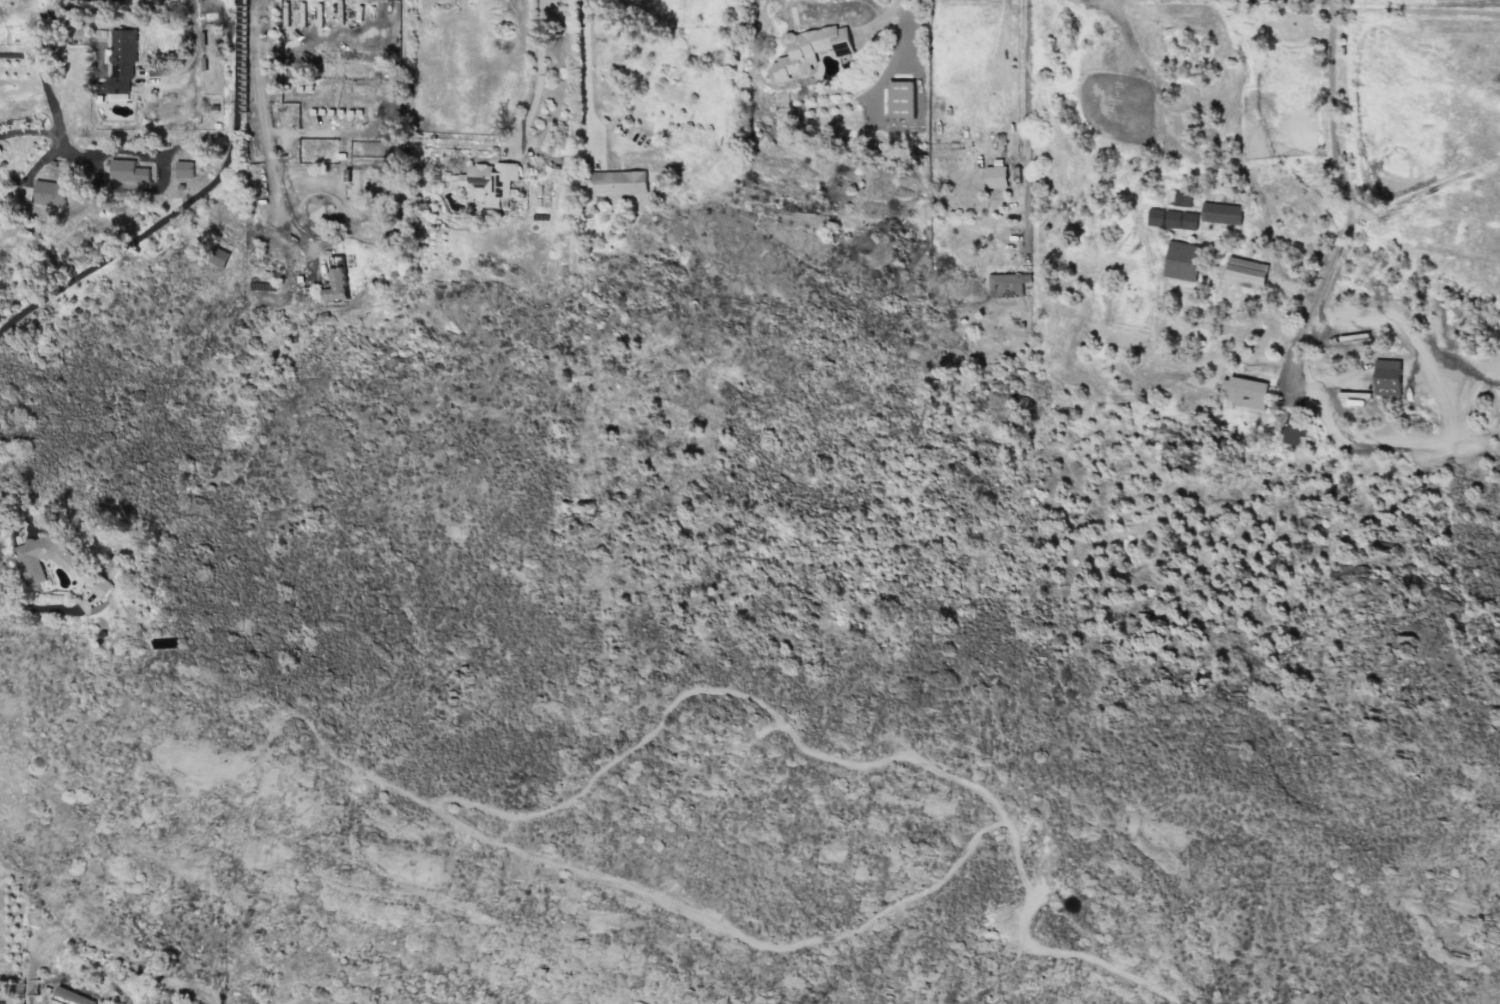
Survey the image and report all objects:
road: (879, 21)
road: (1002, 31)
road: (190, 46)
building: (808, 49)
building: (121, 59)
road: (233, 67)
road: (536, 69)
road: (586, 69)
road: (1025, 87)
building: (900, 99)
road: (262, 115)
building: (184, 168)
building: (127, 170)
building: (995, 174)
building: (489, 181)
building: (618, 183)
building: (49, 193)
road: (1345, 197)
building: (1181, 198)
building: (1220, 213)
road: (1025, 217)
building: (1171, 218)
road: (131, 241)
building: (221, 257)
building: (1181, 260)
building: (1244, 273)
building: (1006, 284)
building: (335, 285)
building: (1386, 377)
building: (1243, 392)
building: (1291, 432)
building: (43, 558)
building: (103, 577)
road: (37, 608)
road: (117, 993)
building: (73, 996)

